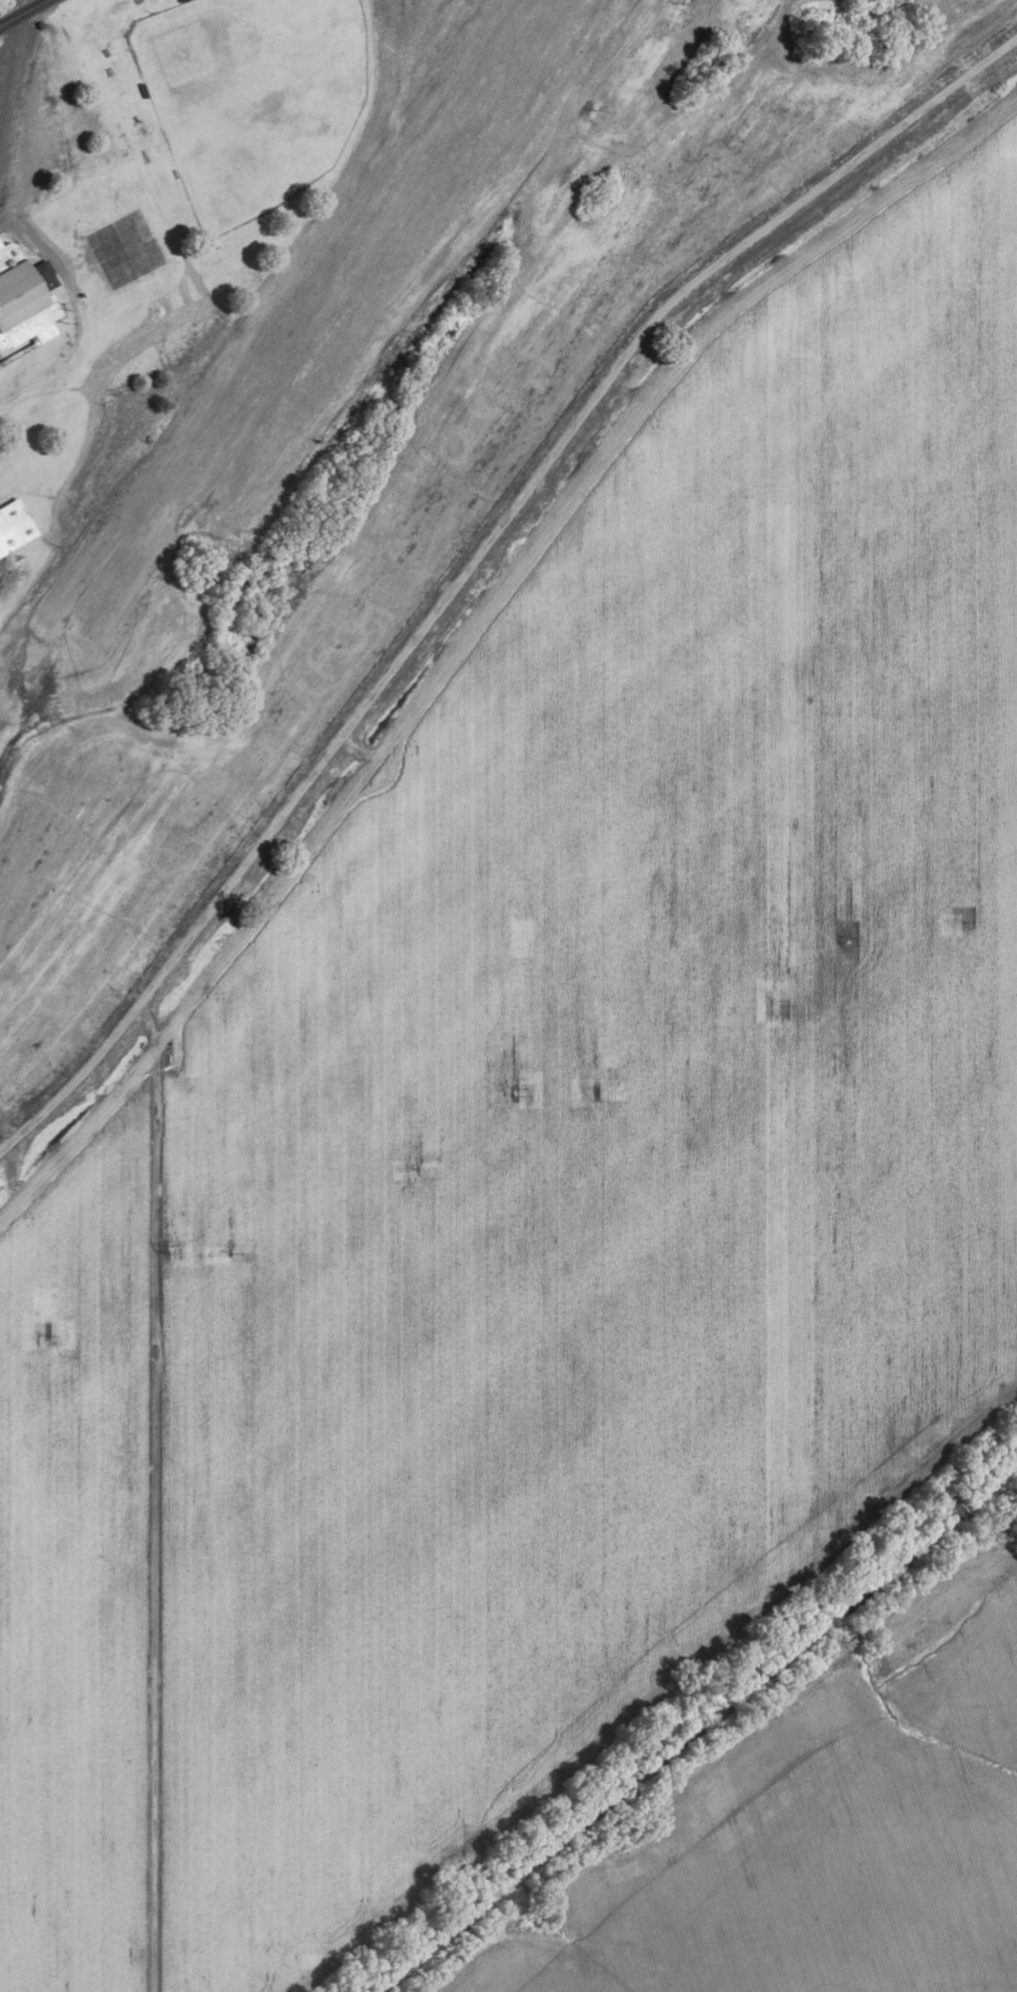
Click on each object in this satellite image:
road: (22, 12)
road: (7, 71)
parking lot: (3, 85)
road: (10, 91)
park: (250, 97)
road: (633, 142)
road: (23, 245)
building: (24, 298)
road: (16, 352)
road: (535, 475)
building: (13, 525)
road: (75, 1078)
road: (150, 1494)

